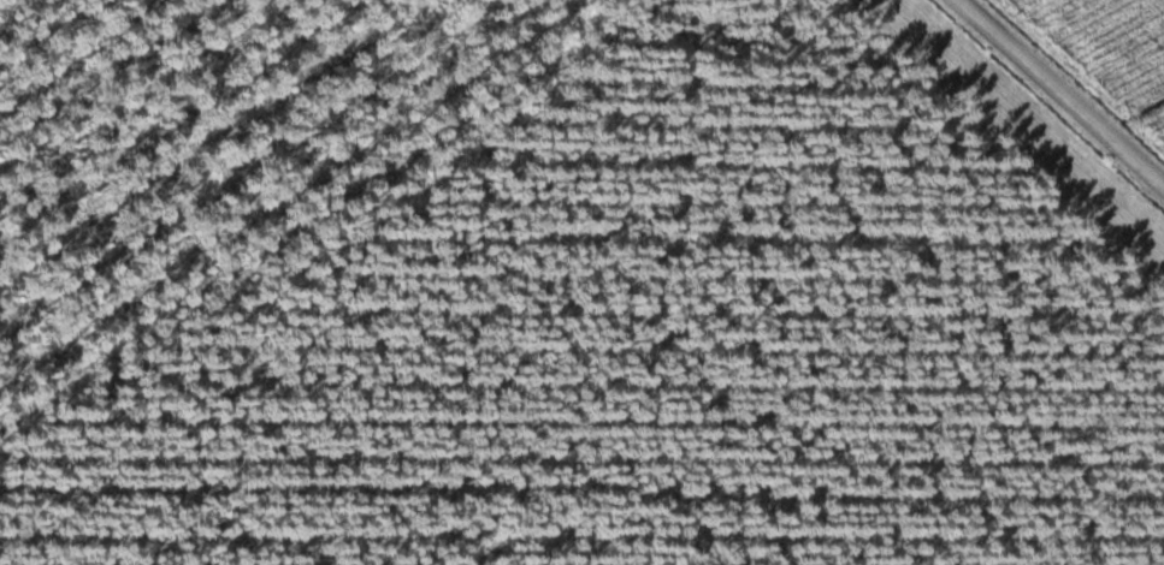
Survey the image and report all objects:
road: (1063, 90)

